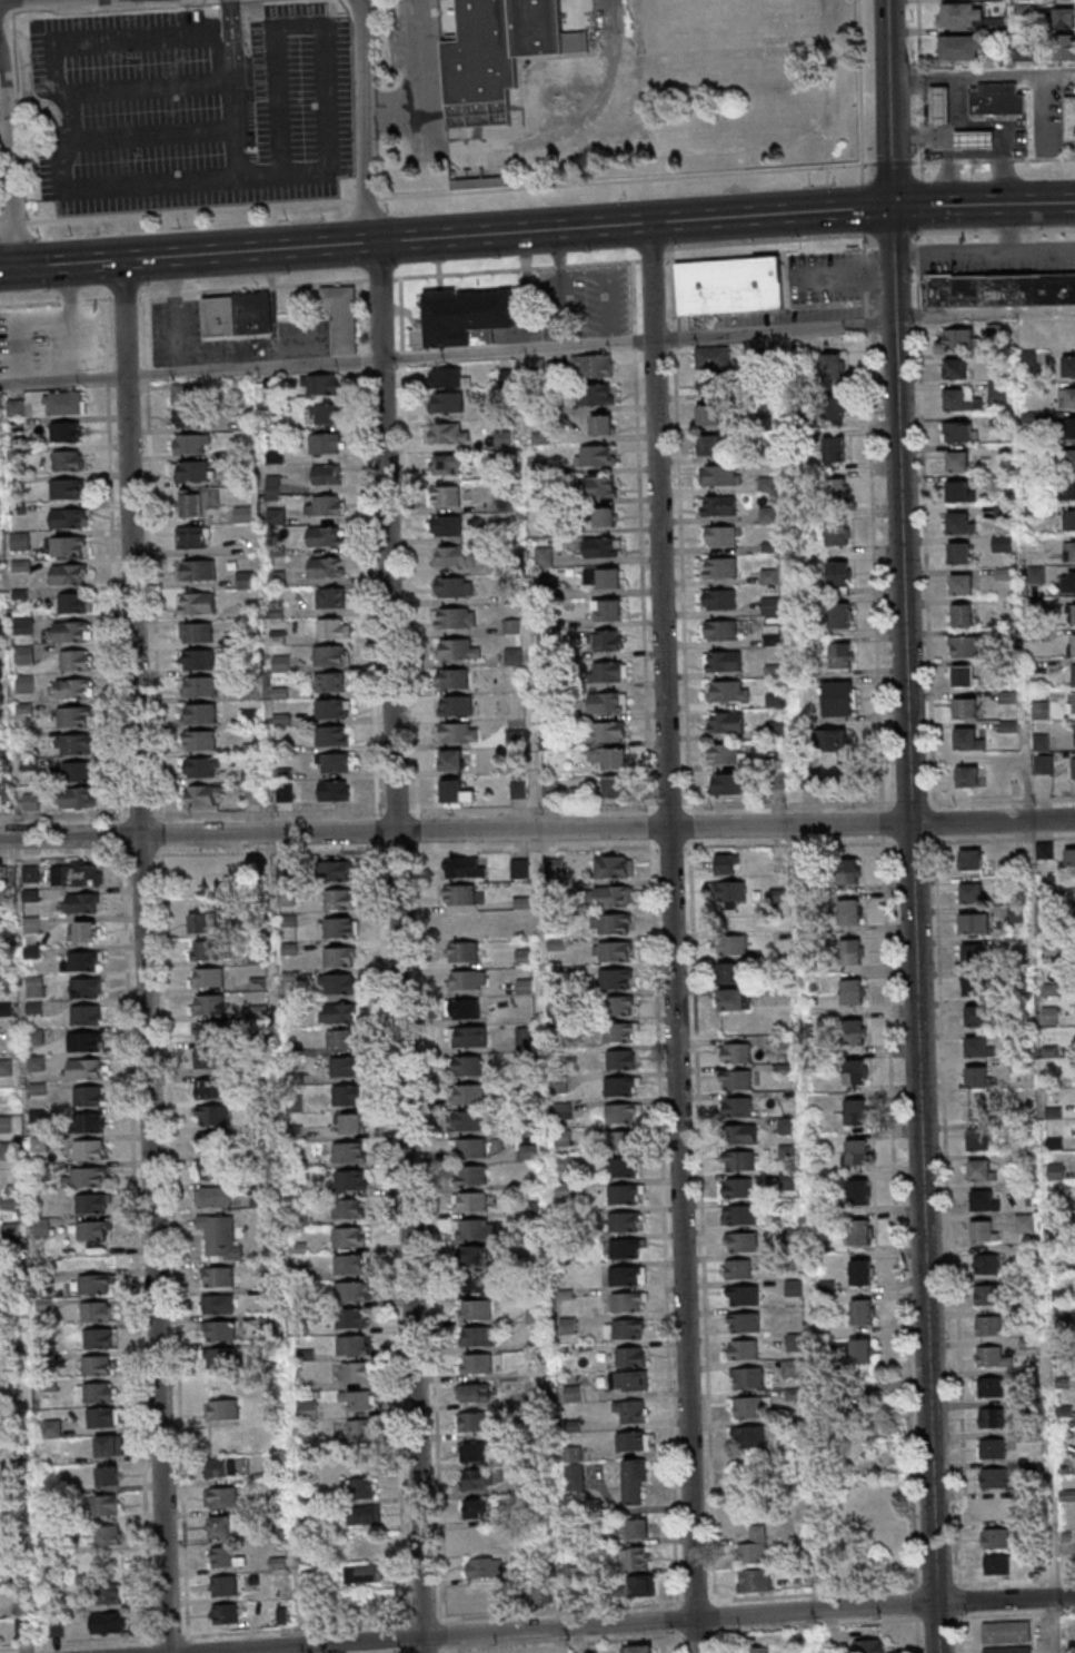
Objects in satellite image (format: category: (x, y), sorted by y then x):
building: (992, 0)
building: (1056, 0)
building: (1019, 10)
road: (608, 17)
building: (956, 17)
building: (1061, 19)
building: (991, 27)
road: (296, 28)
building: (780, 36)
building: (957, 49)
building: (1063, 49)
building: (500, 55)
building: (1021, 55)
road: (982, 73)
road: (147, 87)
road: (231, 89)
road: (920, 89)
road: (859, 90)
building: (985, 100)
road: (889, 103)
building: (936, 105)
parking lot: (189, 108)
building: (1069, 117)
road: (361, 121)
road: (151, 133)
building: (977, 139)
road: (57, 162)
road: (7, 164)
road: (537, 186)
traffic signals: (892, 208)
road: (537, 230)
building: (734, 285)
building: (1004, 289)
road: (985, 311)
building: (240, 314)
building: (345, 315)
building: (467, 317)
building: (1065, 335)
building: (958, 337)
road: (447, 354)
building: (711, 357)
building: (591, 365)
building: (833, 365)
building: (1068, 365)
building: (955, 368)
building: (448, 376)
building: (324, 385)
building: (997, 390)
building: (597, 393)
building: (189, 395)
building: (1067, 397)
building: (956, 398)
building: (66, 402)
building: (446, 402)
building: (833, 407)
building: (16, 408)
building: (326, 414)
building: (713, 414)
building: (190, 418)
building: (601, 424)
building: (17, 426)
building: (1071, 427)
building: (67, 430)
building: (958, 430)
building: (447, 432)
building: (191, 444)
building: (325, 444)
building: (710, 444)
building: (834, 448)
building: (601, 454)
building: (1067, 457)
building: (69, 459)
building: (958, 459)
building: (447, 463)
building: (191, 472)
building: (327, 474)
building: (719, 474)
building: (599, 486)
building: (1068, 488)
building: (67, 489)
building: (957, 489)
building: (835, 491)
building: (445, 494)
building: (190, 505)
building: (326, 505)
building: (717, 505)
building: (768, 514)
building: (605, 515)
building: (69, 518)
building: (1069, 518)
building: (958, 522)
building: (448, 525)
building: (838, 532)
building: (719, 535)
building: (195, 536)
building: (326, 536)
building: (20, 541)
building: (71, 545)
building: (603, 546)
building: (959, 551)
building: (1069, 551)
building: (454, 556)
building: (327, 566)
building: (719, 567)
building: (198, 570)
building: (69, 574)
building: (839, 576)
building: (608, 577)
building: (1068, 581)
building: (962, 583)
building: (455, 586)
building: (332, 597)
building: (719, 597)
building: (74, 602)
building: (198, 602)
building: (770, 605)
building: (607, 608)
building: (1073, 612)
building: (840, 614)
building: (963, 614)
building: (454, 616)
building: (335, 626)
building: (719, 628)
building: (70, 631)
building: (197, 632)
building: (607, 639)
building: (1073, 643)
building: (964, 645)
building: (458, 647)
building: (331, 654)
building: (843, 654)
building: (24, 655)
building: (199, 659)
building: (76, 660)
building: (723, 660)
building: (608, 671)
building: (1074, 674)
building: (454, 677)
building: (331, 682)
building: (24, 684)
building: (199, 685)
building: (74, 689)
building: (728, 690)
building: (839, 697)
building: (608, 702)
building: (1072, 702)
building: (456, 705)
building: (966, 706)
building: (332, 709)
building: (1042, 709)
building: (201, 713)
building: (76, 717)
building: (726, 721)
building: (607, 731)
building: (458, 732)
building: (334, 734)
building: (966, 736)
building: (833, 739)
building: (200, 740)
building: (74, 744)
building: (724, 752)
building: (609, 756)
building: (450, 759)
building: (776, 761)
building: (335, 762)
building: (1045, 763)
building: (202, 766)
building: (1073, 769)
building: (79, 772)
building: (968, 775)
building: (727, 783)
building: (613, 785)
building: (551, 788)
building: (519, 789)
building: (335, 790)
building: (456, 791)
building: (286, 792)
building: (203, 794)
building: (253, 794)
building: (78, 798)
building: (32, 802)
road: (200, 813)
road: (82, 815)
road: (537, 829)
road: (537, 847)
building: (1045, 849)
building: (1071, 858)
building: (971, 859)
building: (727, 863)
building: (554, 864)
building: (614, 865)
building: (466, 867)
building: (520, 867)
building: (342, 869)
building: (207, 870)
building: (849, 871)
building: (77, 874)
building: (730, 890)
building: (972, 891)
building: (460, 893)
building: (614, 894)
building: (341, 897)
building: (84, 901)
road: (913, 904)
building: (849, 910)
building: (203, 922)
building: (461, 922)
building: (613, 922)
building: (974, 922)
building: (342, 927)
building: (86, 931)
road: (677, 937)
building: (733, 944)
road: (405, 947)
building: (206, 950)
building: (466, 950)
building: (614, 950)
building: (852, 951)
building: (973, 953)
building: (340, 956)
road: (149, 957)
building: (81, 960)
road: (805, 970)
building: (730, 972)
building: (209, 977)
building: (616, 978)
building: (468, 979)
building: (338, 982)
building: (977, 984)
building: (36, 986)
building: (87, 987)
building: (853, 990)
building: (735, 998)
building: (210, 1004)
building: (623, 1004)
building: (462, 1008)
building: (340, 1012)
building: (87, 1013)
building: (977, 1014)
building: (211, 1031)
building: (619, 1031)
building: (855, 1031)
building: (468, 1036)
building: (342, 1038)
building: (526, 1038)
building: (87, 1040)
building: (979, 1046)
building: (735, 1052)
building: (621, 1058)
building: (207, 1059)
building: (466, 1065)
building: (347, 1066)
building: (84, 1068)
building: (855, 1071)
building: (978, 1076)
building: (736, 1078)
building: (621, 1085)
building: (207, 1089)
building: (348, 1093)
building: (466, 1093)
building: (90, 1096)
building: (738, 1106)
building: (979, 1108)
building: (857, 1111)
building: (628, 1112)
building: (213, 1115)
building: (467, 1119)
building: (91, 1121)
building: (350, 1122)
building: (8, 1125)
building: (741, 1134)
building: (979, 1138)
building: (624, 1139)
building: (212, 1141)
building: (468, 1147)
building: (9, 1149)
building: (90, 1150)
building: (858, 1151)
building: (350, 1152)
building: (738, 1159)
building: (623, 1167)
building: (212, 1168)
building: (983, 1169)
building: (472, 1174)
building: (87, 1178)
building: (351, 1180)
building: (736, 1187)
building: (859, 1191)
building: (625, 1194)
building: (215, 1196)
building: (985, 1199)
building: (470, 1200)
building: (93, 1204)
building: (349, 1208)
building: (739, 1214)
building: (625, 1219)
building: (1025, 1219)
building: (475, 1227)
building: (985, 1229)
building: (92, 1231)
building: (860, 1231)
building: (222, 1236)
building: (350, 1236)
building: (741, 1241)
road: (140, 1246)
building: (630, 1247)
building: (475, 1255)
building: (987, 1263)
building: (351, 1265)
building: (738, 1268)
building: (862, 1271)
building: (627, 1275)
building: (218, 1276)
building: (477, 1281)
building: (94, 1285)
building: (354, 1291)
building: (987, 1294)
building: (741, 1295)
building: (628, 1301)
building: (218, 1304)
building: (474, 1309)
building: (863, 1310)
building: (97, 1311)
building: (352, 1319)
building: (744, 1322)
building: (989, 1325)
building: (625, 1328)
building: (220, 1330)
building: (475, 1335)
building: (100, 1337)
building: (354, 1345)
building: (743, 1348)
building: (862, 1349)
building: (630, 1355)
building: (993, 1356)
building: (219, 1357)
building: (477, 1363)
building: (98, 1364)
building: (794, 1366)
building: (356, 1372)
building: (747, 1377)
building: (629, 1380)
building: (988, 1386)
building: (96, 1392)
building: (474, 1392)
building: (358, 1399)
building: (748, 1406)
building: (223, 1409)
building: (631, 1411)
building: (102, 1416)
building: (992, 1416)
building: (472, 1421)
building: (360, 1429)
building: (748, 1436)
building: (633, 1441)
building: (110, 1444)
building: (992, 1447)
building: (476, 1451)
building: (227, 1466)
building: (109, 1475)
building: (477, 1477)
building: (994, 1477)
building: (634, 1481)
building: (361, 1487)
building: (221, 1498)
building: (108, 1505)
building: (995, 1506)
building: (478, 1507)
building: (365, 1514)
building: (220, 1527)
building: (638, 1527)
building: (107, 1536)
building: (996, 1537)
building: (366, 1544)
building: (754, 1545)
building: (227, 1556)
building: (636, 1557)
building: (997, 1563)
building: (485, 1566)
building: (365, 1573)
building: (754, 1580)
building: (643, 1584)
building: (225, 1585)
building: (108, 1592)
road: (840, 1593)
road: (965, 1602)
building: (227, 1613)
road: (1021, 1615)
road: (720, 1617)
building: (23, 1619)
road: (640, 1622)
building: (107, 1624)
road: (936, 1627)
building: (1006, 1631)
road: (96, 1642)
road: (577, 1643)
road: (153, 1645)
building: (869, 1645)
building: (637, 1649)
building: (755, 1650)
building: (1007, 1650)

